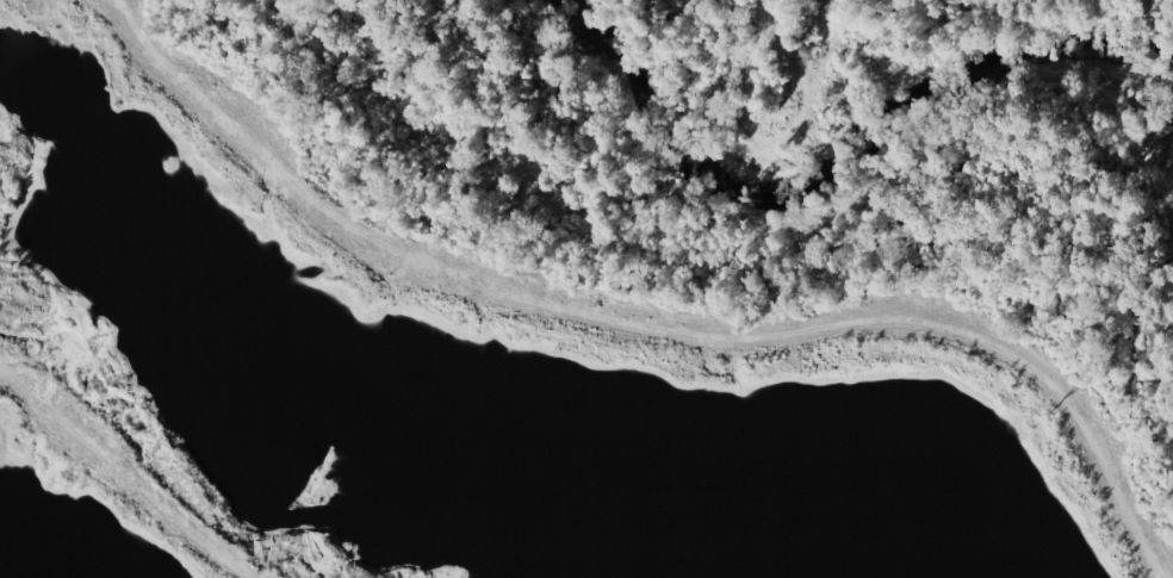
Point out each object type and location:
river: (836, 144)
road: (654, 321)

